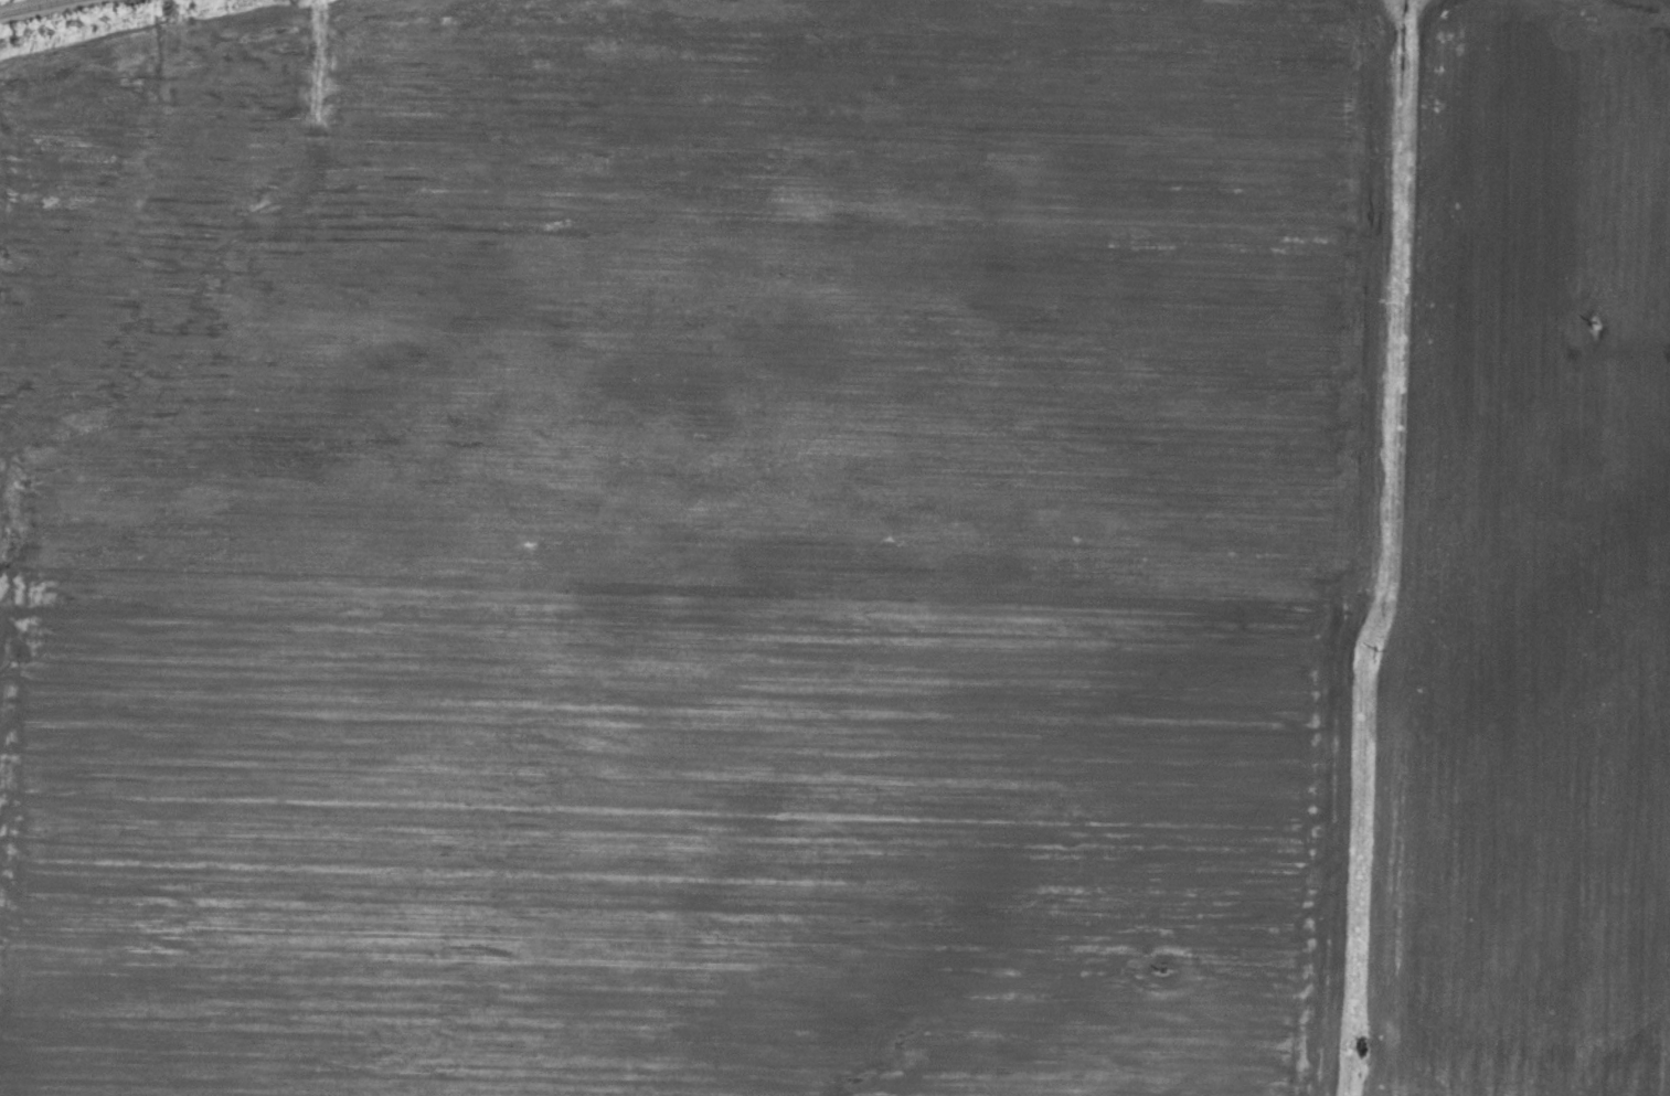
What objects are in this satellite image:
railway: (6, 1)

